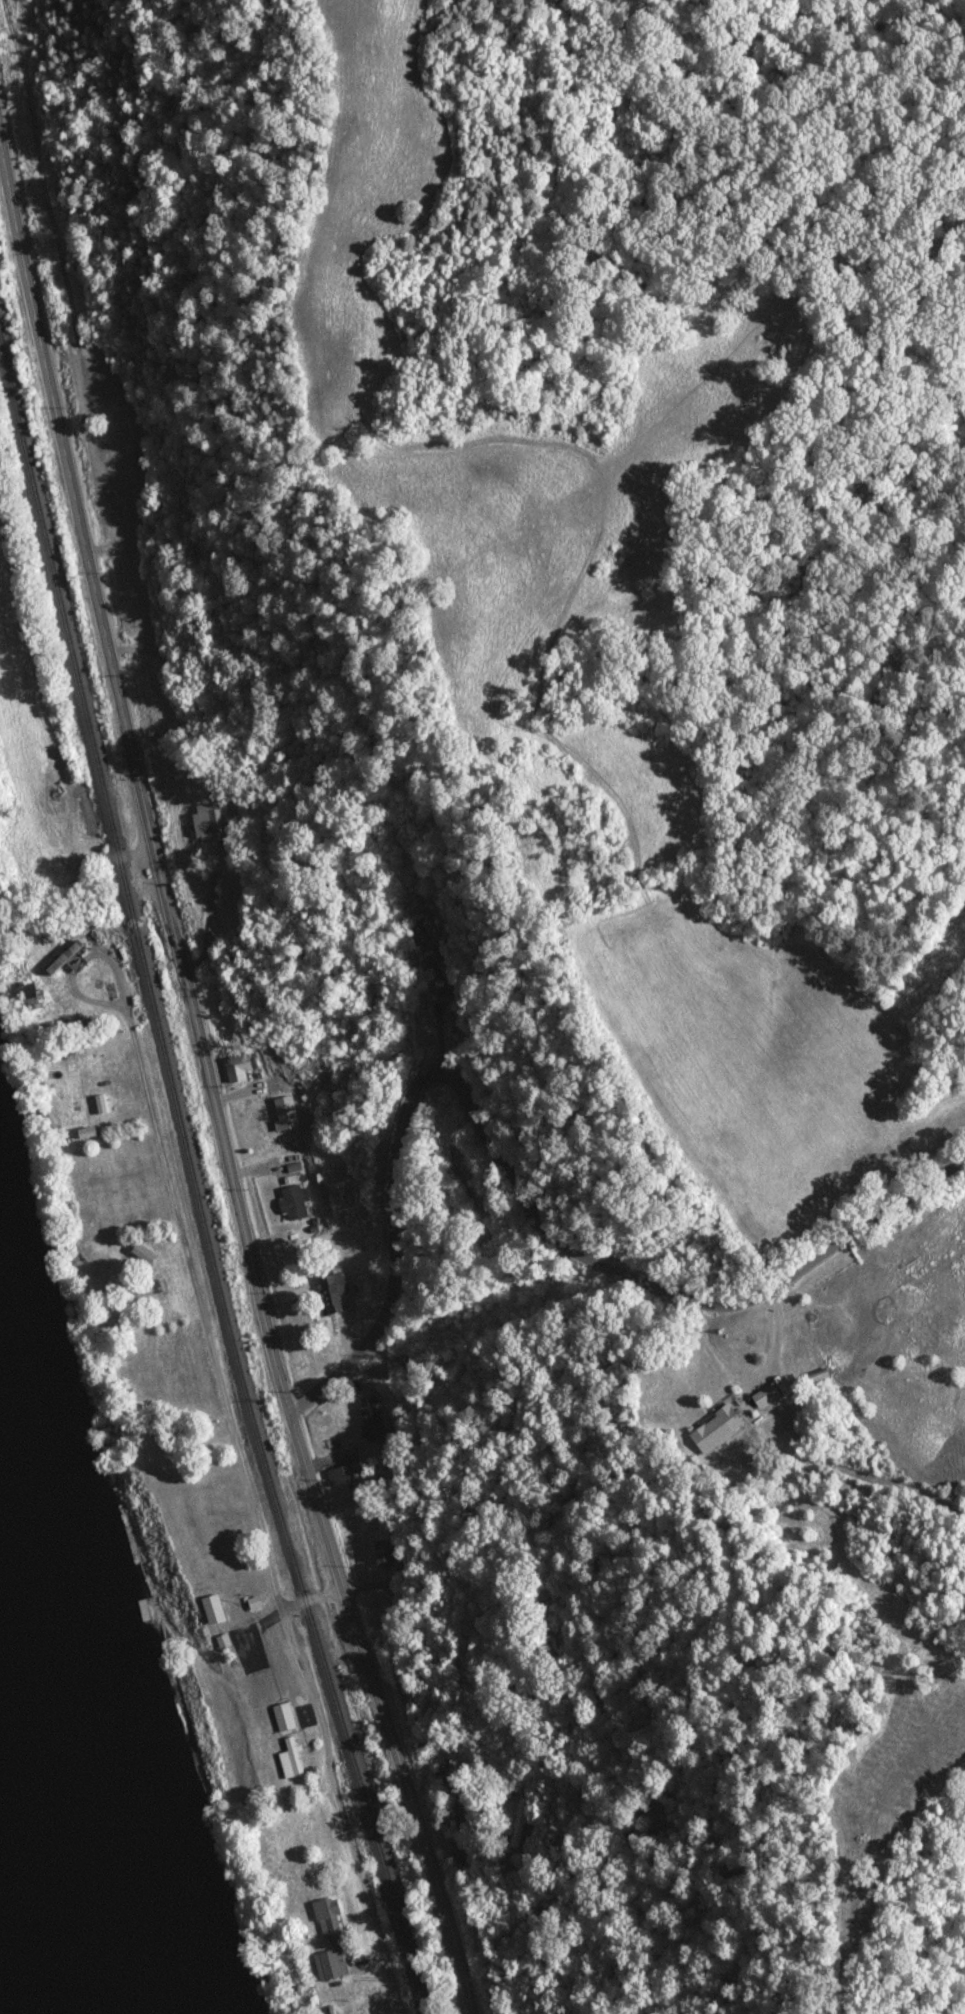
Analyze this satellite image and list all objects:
building: (118, 426)
building: (209, 823)
building: (418, 936)
building: (432, 978)
building: (236, 1068)
road: (208, 1084)
building: (284, 1112)
road: (542, 1157)
railway: (186, 1159)
building: (293, 1202)
building: (330, 1295)
road: (199, 1307)
road: (777, 1331)
building: (725, 1419)
building: (371, 1420)
building: (342, 1475)
building: (382, 1554)
building: (208, 1612)
building: (219, 1643)
building: (286, 1716)
road: (195, 1744)
building: (290, 1759)
building: (331, 1923)
building: (329, 1965)
river: (5, 1995)

